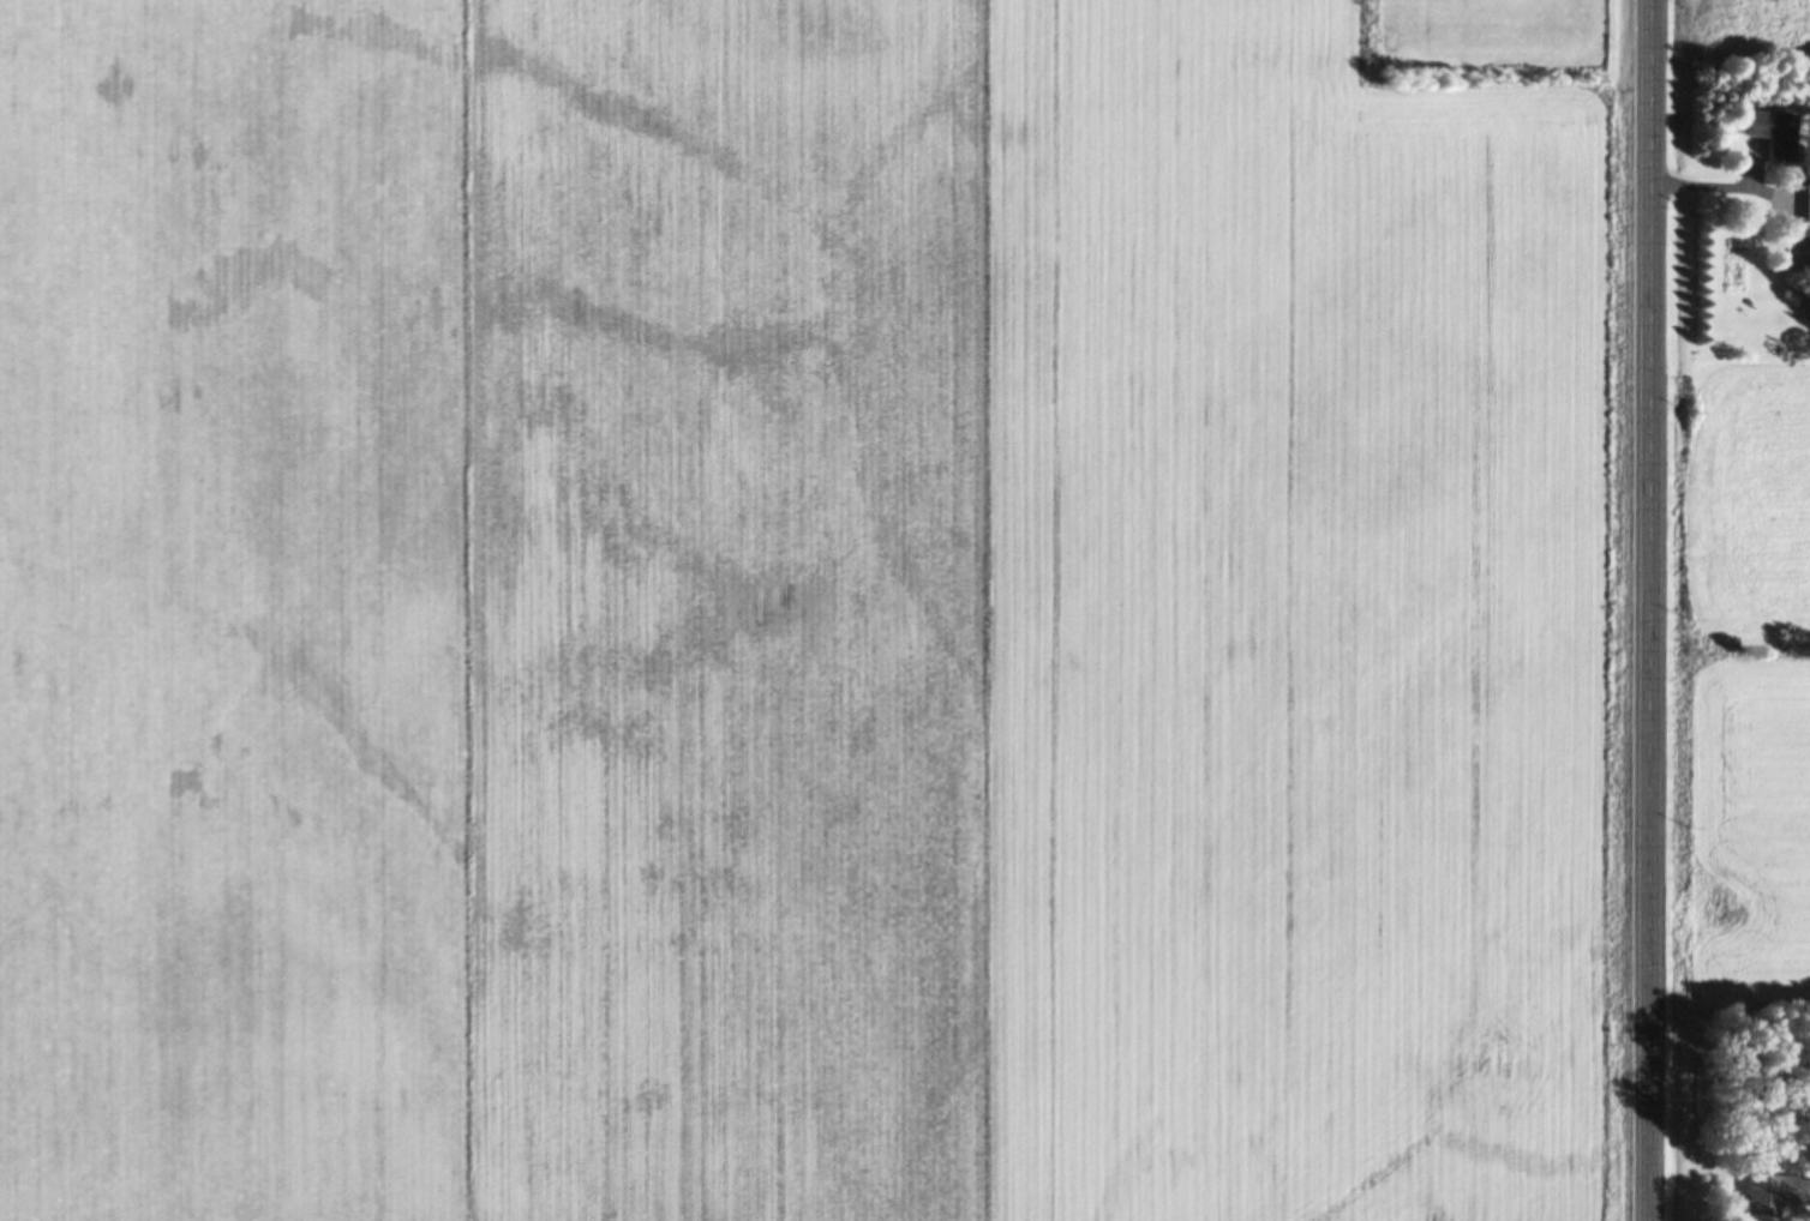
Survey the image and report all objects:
building: (1773, 131)
building: (1806, 215)
road: (1652, 610)
building: (1774, 1191)

